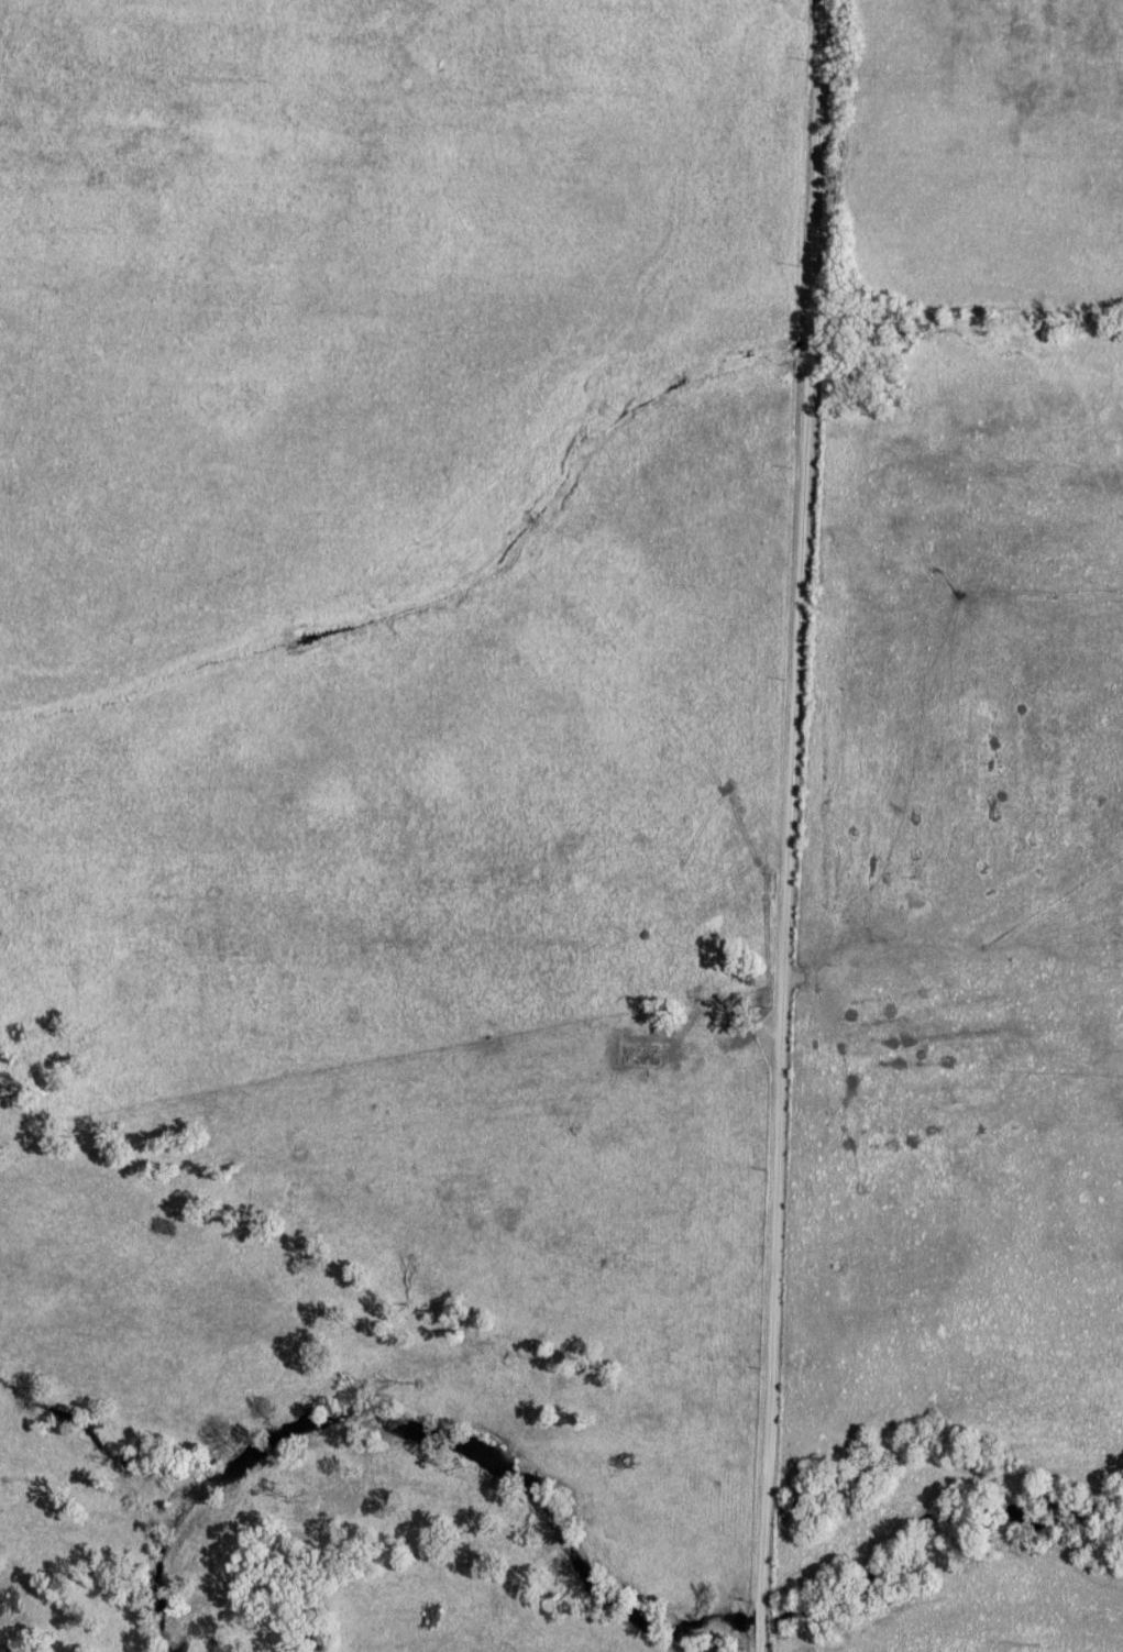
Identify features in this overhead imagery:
road: (788, 804)
building: (632, 1053)
road: (758, 1622)
road: (757, 1643)

